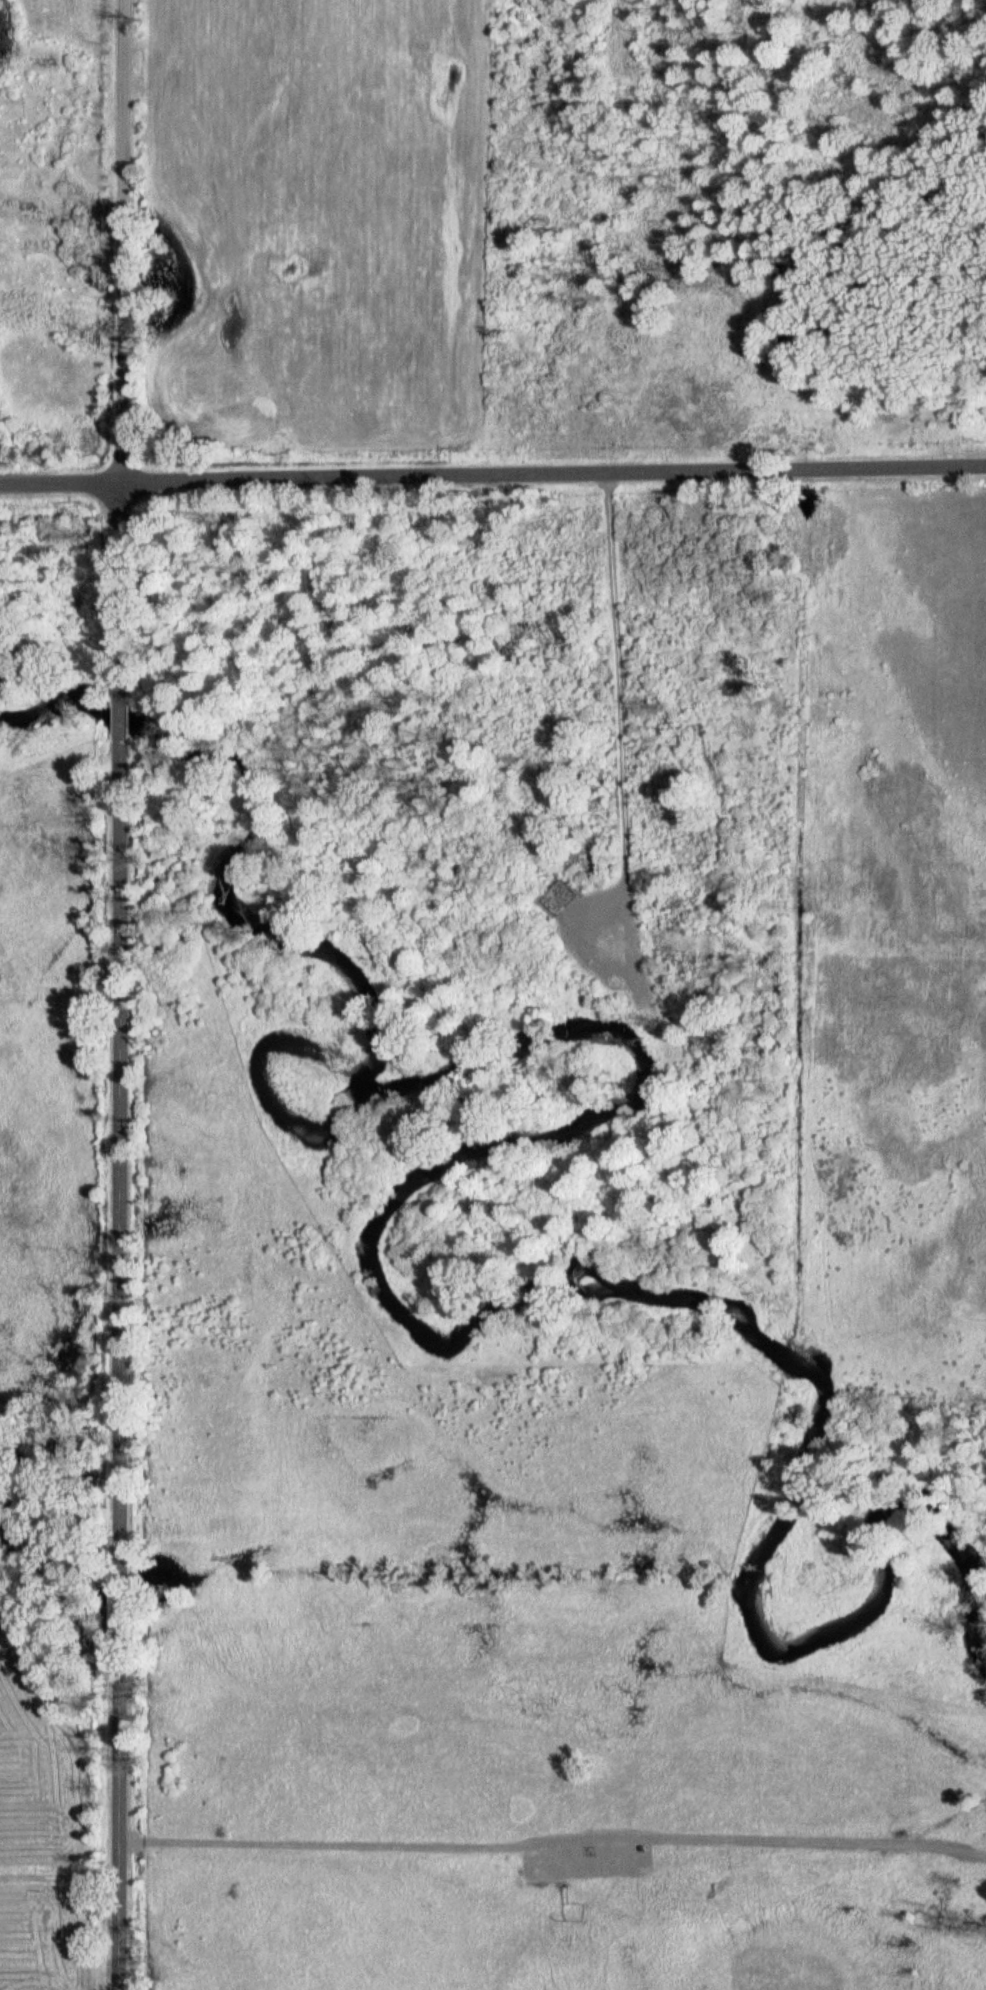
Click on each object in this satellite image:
road: (119, 242)
road: (553, 479)
road: (60, 484)
road: (119, 565)
road: (116, 706)
road: (601, 735)
river: (491, 1154)
road: (120, 1377)

